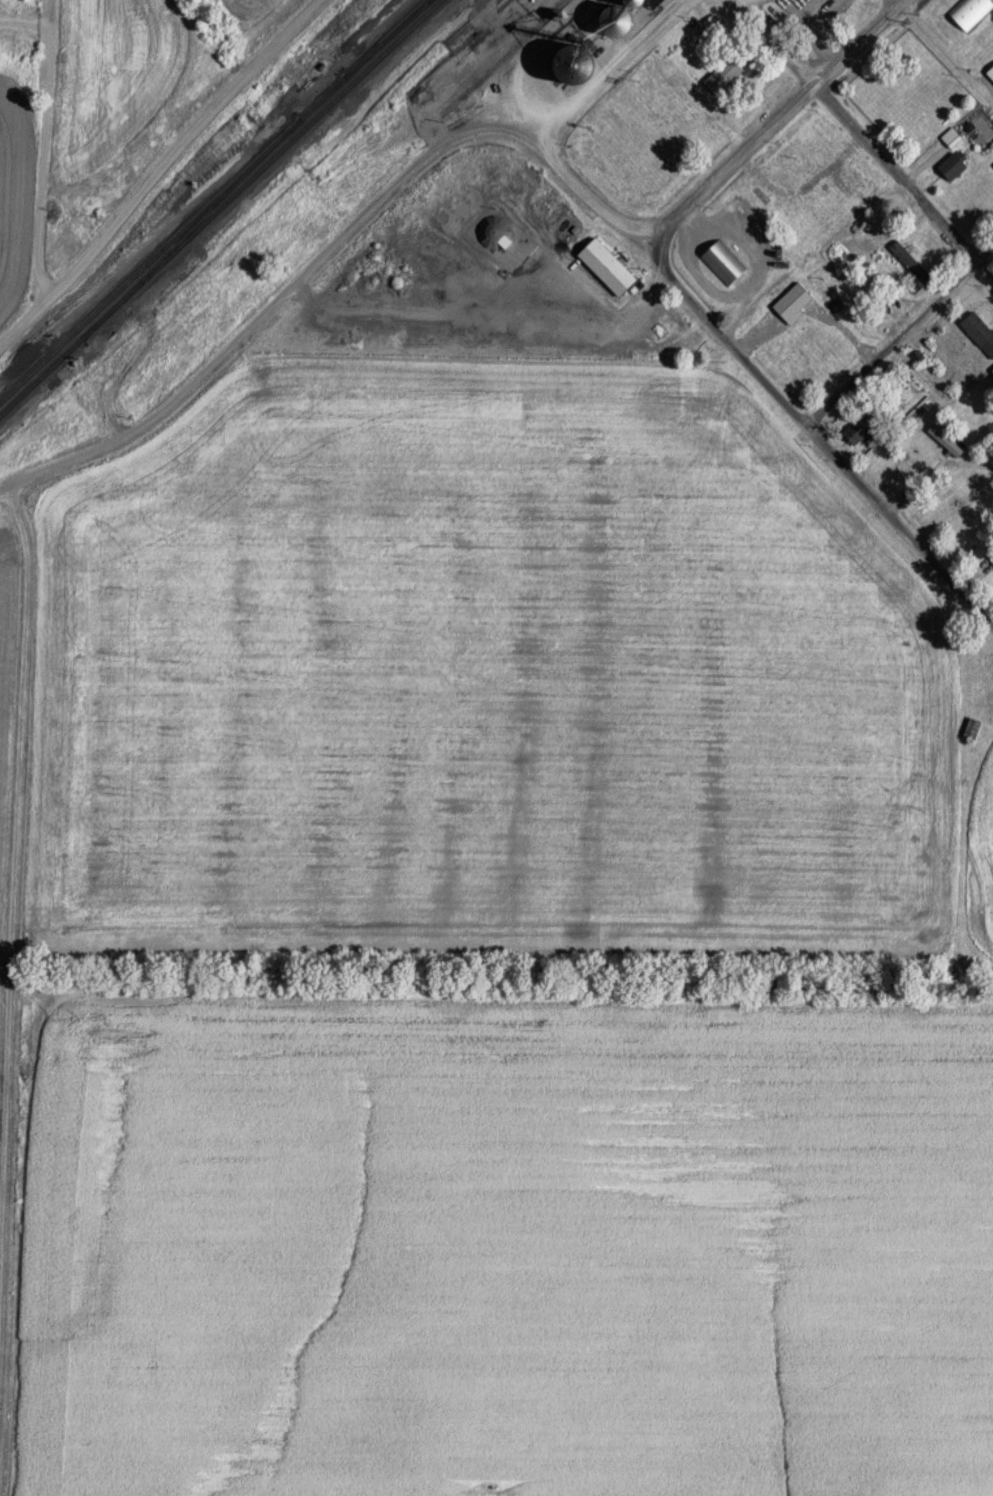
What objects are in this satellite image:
building: (584, 5)
building: (969, 12)
building: (623, 19)
railway: (386, 39)
railway: (389, 39)
railway: (513, 48)
road: (945, 52)
building: (991, 73)
building: (726, 74)
building: (537, 91)
railway: (323, 99)
road: (769, 123)
road: (865, 139)
road: (47, 148)
building: (956, 165)
railway: (263, 169)
road: (159, 170)
building: (981, 202)
railway: (192, 229)
road: (342, 235)
railway: (150, 263)
building: (724, 263)
building: (911, 263)
building: (610, 267)
building: (907, 291)
building: (796, 303)
building: (980, 330)
road: (898, 335)
railway: (42, 377)
road: (761, 378)
building: (862, 428)
building: (992, 562)
building: (974, 729)
road: (14, 903)

